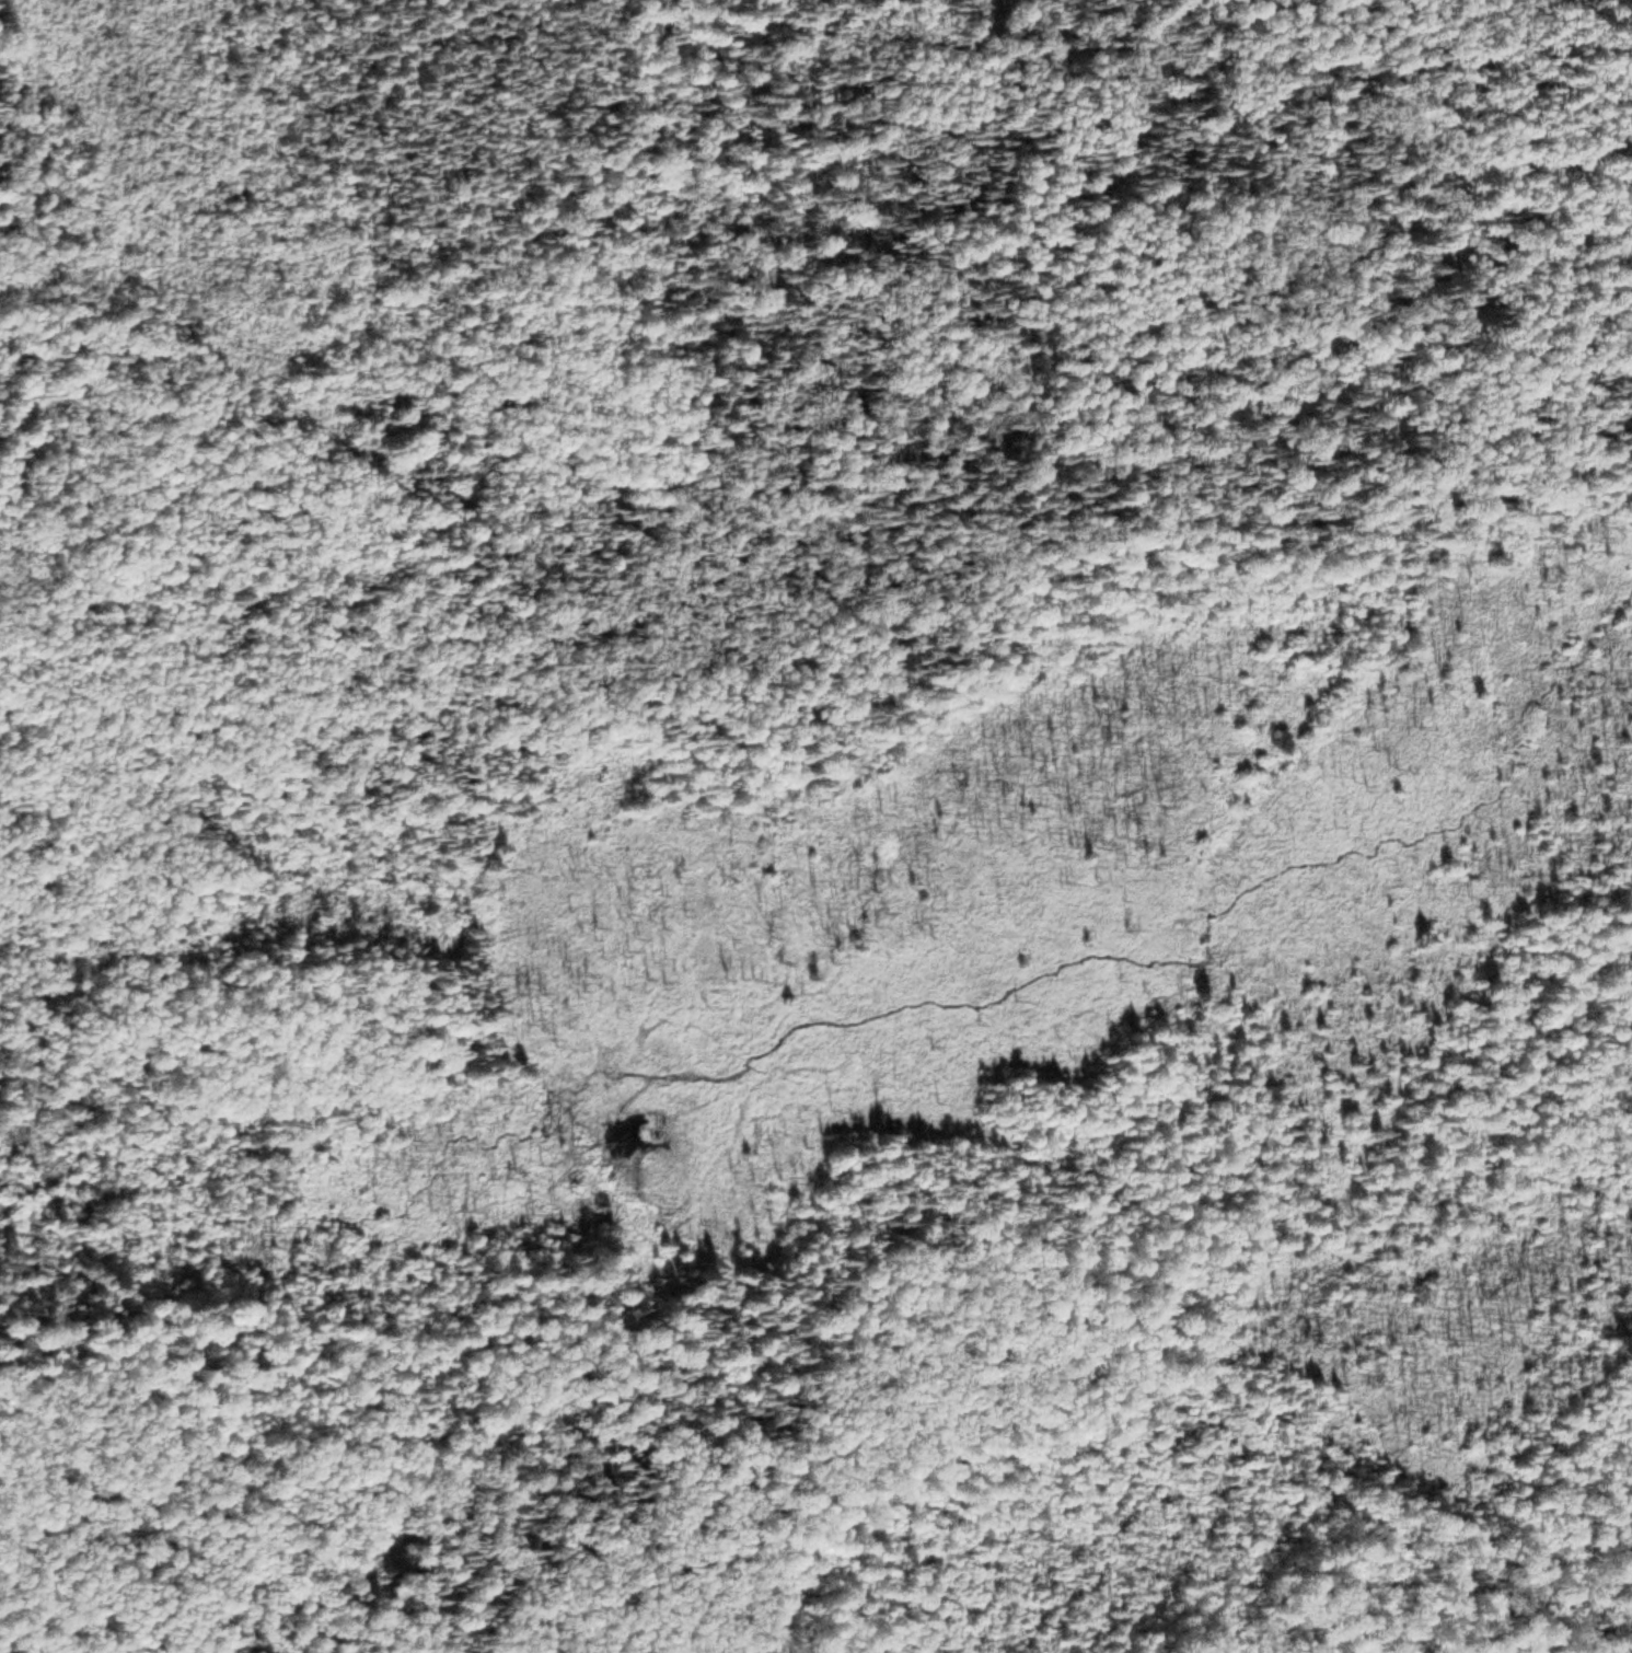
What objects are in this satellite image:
road: (1465, 117)
road: (766, 647)
park: (815, 827)

